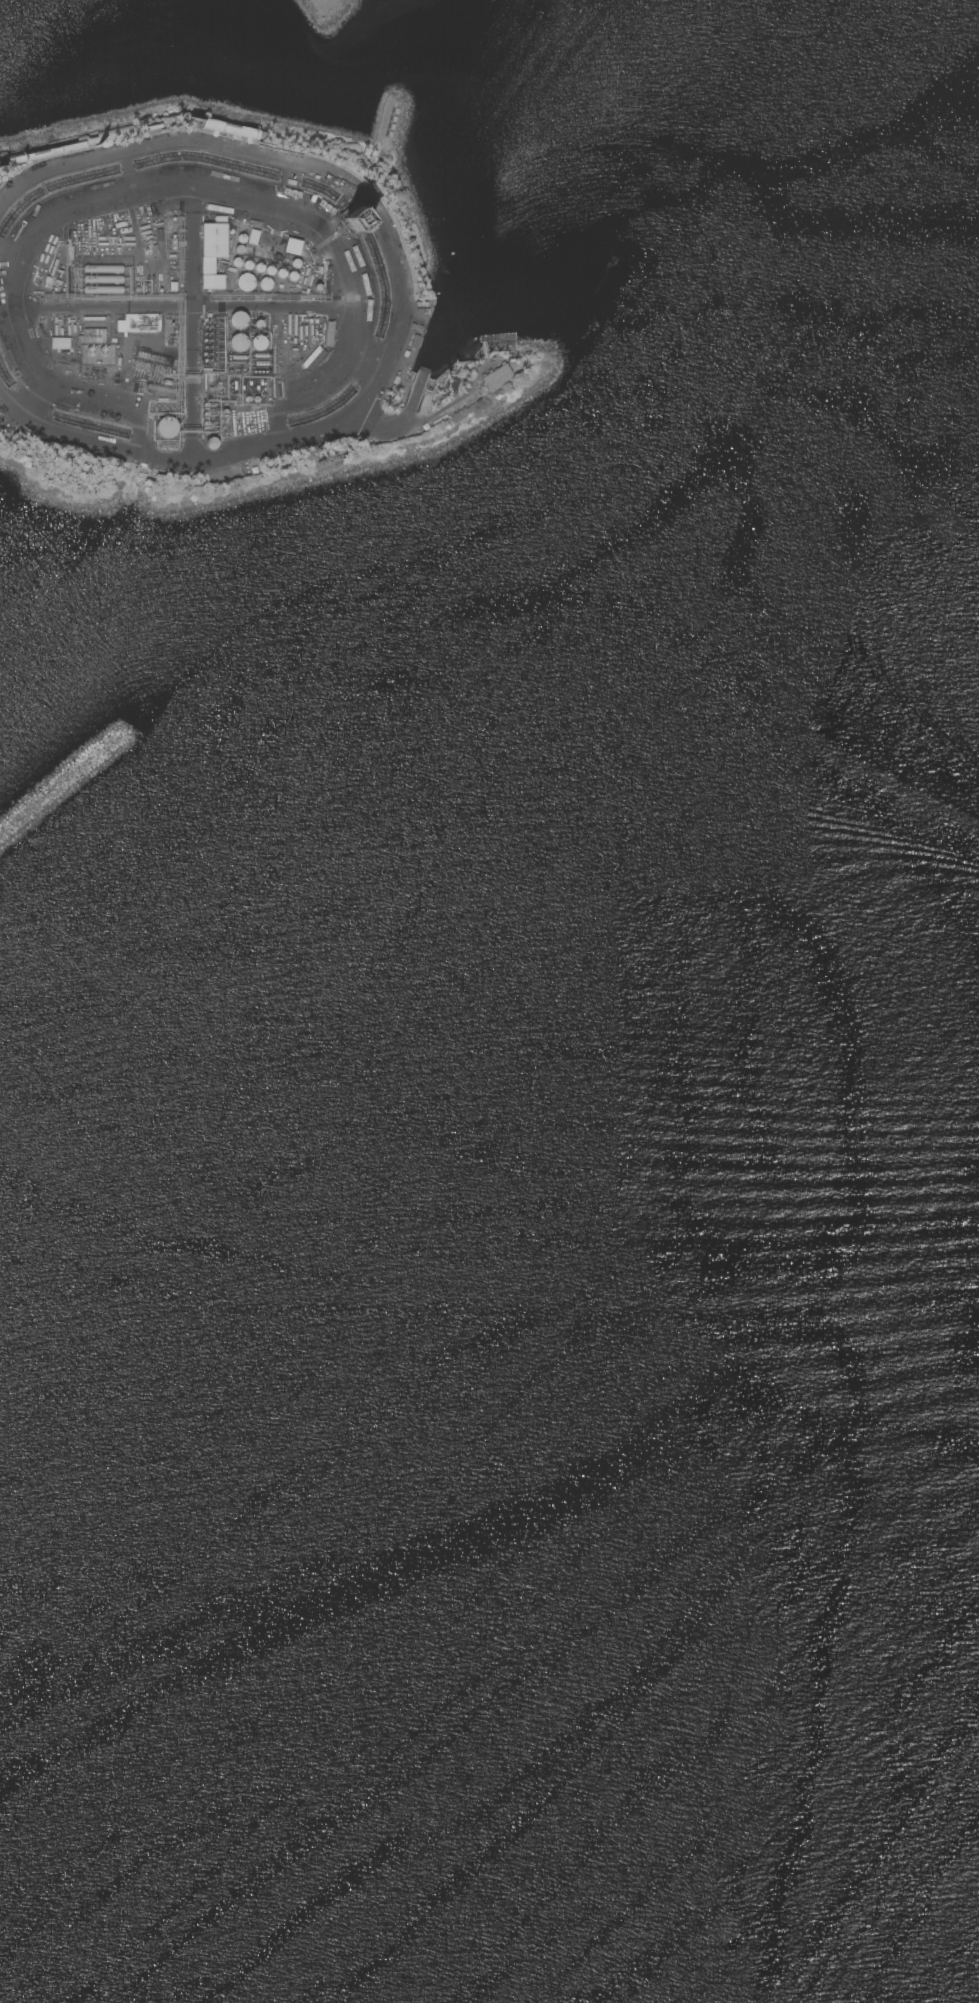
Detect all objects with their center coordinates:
road: (322, 1)
building: (230, 129)
building: (77, 144)
road: (218, 195)
building: (150, 209)
building: (263, 217)
building: (254, 237)
building: (293, 246)
building: (214, 251)
building: (104, 268)
building: (103, 278)
building: (246, 282)
building: (266, 283)
building: (103, 289)
road: (396, 300)
road: (271, 309)
road: (43, 315)
building: (84, 320)
building: (238, 320)
building: (139, 323)
road: (190, 325)
building: (94, 341)
building: (238, 342)
building: (259, 342)
building: (60, 343)
road: (359, 361)
building: (368, 365)
building: (94, 376)
building: (497, 377)
building: (452, 383)
building: (159, 388)
road: (381, 424)
building: (167, 427)
building: (251, 434)
building: (212, 443)
building: (219, 471)
building: (221, 477)

